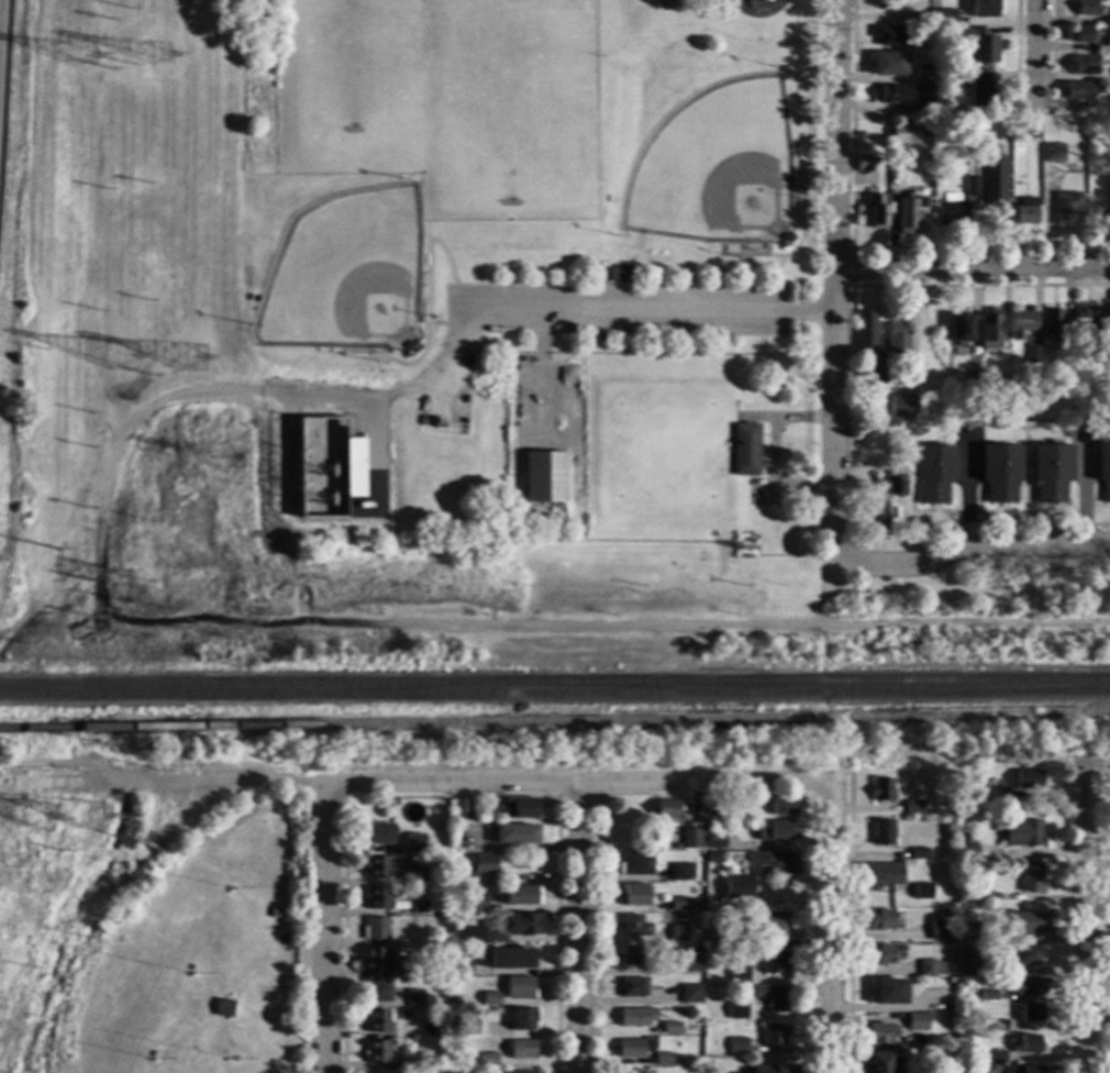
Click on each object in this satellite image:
building: (665, 0)
building: (1087, 8)
building: (983, 9)
building: (945, 16)
building: (922, 23)
building: (1083, 34)
building: (889, 35)
building: (1108, 44)
building: (980, 45)
road: (1014, 52)
road: (1032, 52)
road: (1051, 53)
power tower: (162, 57)
power tower: (82, 59)
park: (351, 64)
building: (888, 64)
building: (1081, 65)
building: (979, 89)
building: (1076, 91)
building: (891, 95)
park: (508, 101)
building: (920, 104)
building: (1024, 129)
building: (904, 133)
building: (1052, 154)
building: (874, 159)
building: (863, 163)
park: (715, 168)
building: (895, 177)
building: (992, 181)
building: (970, 186)
building: (1065, 208)
building: (1106, 209)
building: (951, 210)
building: (1092, 210)
building: (876, 211)
building: (1023, 212)
building: (907, 214)
building: (788, 237)
road: (855, 247)
road: (973, 266)
road: (850, 267)
building: (619, 274)
park: (345, 275)
road: (834, 281)
road: (979, 286)
park: (531, 303)
parking lot: (617, 310)
road: (646, 311)
building: (1090, 321)
building: (1051, 322)
building: (1021, 323)
building: (586, 327)
building: (959, 328)
building: (865, 330)
building: (988, 331)
building: (897, 336)
building: (1031, 355)
building: (932, 357)
power tower: (121, 359)
power tower: (193, 364)
building: (873, 375)
building: (970, 375)
road: (218, 389)
building: (934, 394)
building: (900, 407)
building: (1041, 411)
road: (1025, 441)
road: (955, 442)
building: (879, 449)
building: (744, 450)
power tower: (224, 465)
building: (352, 467)
building: (1103, 469)
power substation: (317, 472)
building: (1050, 472)
building: (933, 473)
building: (1000, 473)
building: (544, 477)
building: (888, 485)
road: (965, 488)
road: (1080, 488)
building: (874, 516)
road: (996, 524)
road: (975, 544)
power tower: (115, 583)
power tower: (151, 620)
road: (553, 626)
railway: (555, 683)
railway: (555, 694)
railway: (554, 719)
building: (1028, 778)
road: (577, 781)
building: (881, 789)
building: (999, 796)
railway: (242, 799)
building: (781, 805)
building: (519, 807)
building: (913, 807)
building: (462, 809)
building: (667, 809)
building: (712, 809)
power tower: (38, 822)
power tower: (91, 825)
building: (775, 830)
building: (881, 832)
building: (1022, 832)
building: (376, 833)
building: (514, 833)
building: (691, 838)
building: (965, 839)
building: (714, 840)
building: (413, 843)
building: (917, 853)
building: (967, 853)
building: (481, 863)
building: (772, 863)
building: (635, 864)
building: (376, 867)
building: (948, 869)
building: (680, 871)
building: (417, 873)
building: (881, 873)
building: (456, 877)
building: (1031, 878)
building: (715, 884)
building: (456, 887)
building: (968, 888)
building: (226, 892)
building: (921, 892)
building: (522, 895)
building: (634, 895)
building: (376, 898)
building: (476, 903)
building: (682, 904)
building: (418, 906)
building: (878, 919)
road: (1062, 921)
road: (1101, 921)
building: (1028, 922)
building: (524, 923)
road: (848, 923)
road: (1085, 923)
building: (634, 926)
building: (770, 926)
road: (580, 927)
road: (831, 927)
building: (940, 928)
road: (326, 929)
building: (375, 929)
building: (677, 932)
building: (467, 934)
building: (966, 936)
building: (717, 937)
building: (696, 949)
building: (633, 954)
building: (877, 954)
building: (1026, 954)
building: (511, 958)
building: (375, 959)
building: (967, 960)
building: (774, 962)
building: (460, 963)
building: (692, 964)
building: (929, 969)
building: (404, 970)
building: (951, 970)
building: (739, 974)
building: (191, 975)
building: (453, 978)
road: (277, 980)
building: (951, 983)
building: (1029, 986)
building: (519, 987)
building: (632, 987)
building: (377, 991)
building: (888, 992)
building: (690, 994)
building: (988, 995)
building: (414, 997)
building: (774, 997)
building: (490, 998)
building: (444, 1000)
building: (456, 1002)
building: (221, 1008)
building: (443, 1010)
building: (736, 1010)
building: (1030, 1013)
building: (636, 1017)
building: (522, 1018)
building: (376, 1020)
building: (917, 1021)
building: (948, 1024)
building: (998, 1025)
building: (466, 1026)
building: (670, 1028)
building: (774, 1033)
building: (877, 1033)
building: (723, 1041)
building: (391, 1042)
building: (1028, 1044)
building: (410, 1046)
building: (737, 1046)
building: (632, 1048)
building: (521, 1050)
building: (376, 1052)
building: (997, 1055)
building: (666, 1058)
building: (948, 1059)
building: (224, 1060)
building: (487, 1060)
building: (152, 1061)
building: (878, 1063)
building: (967, 1069)
building: (1013, 1069)
building: (775, 1070)
building: (631, 1071)
building: (517, 1072)

